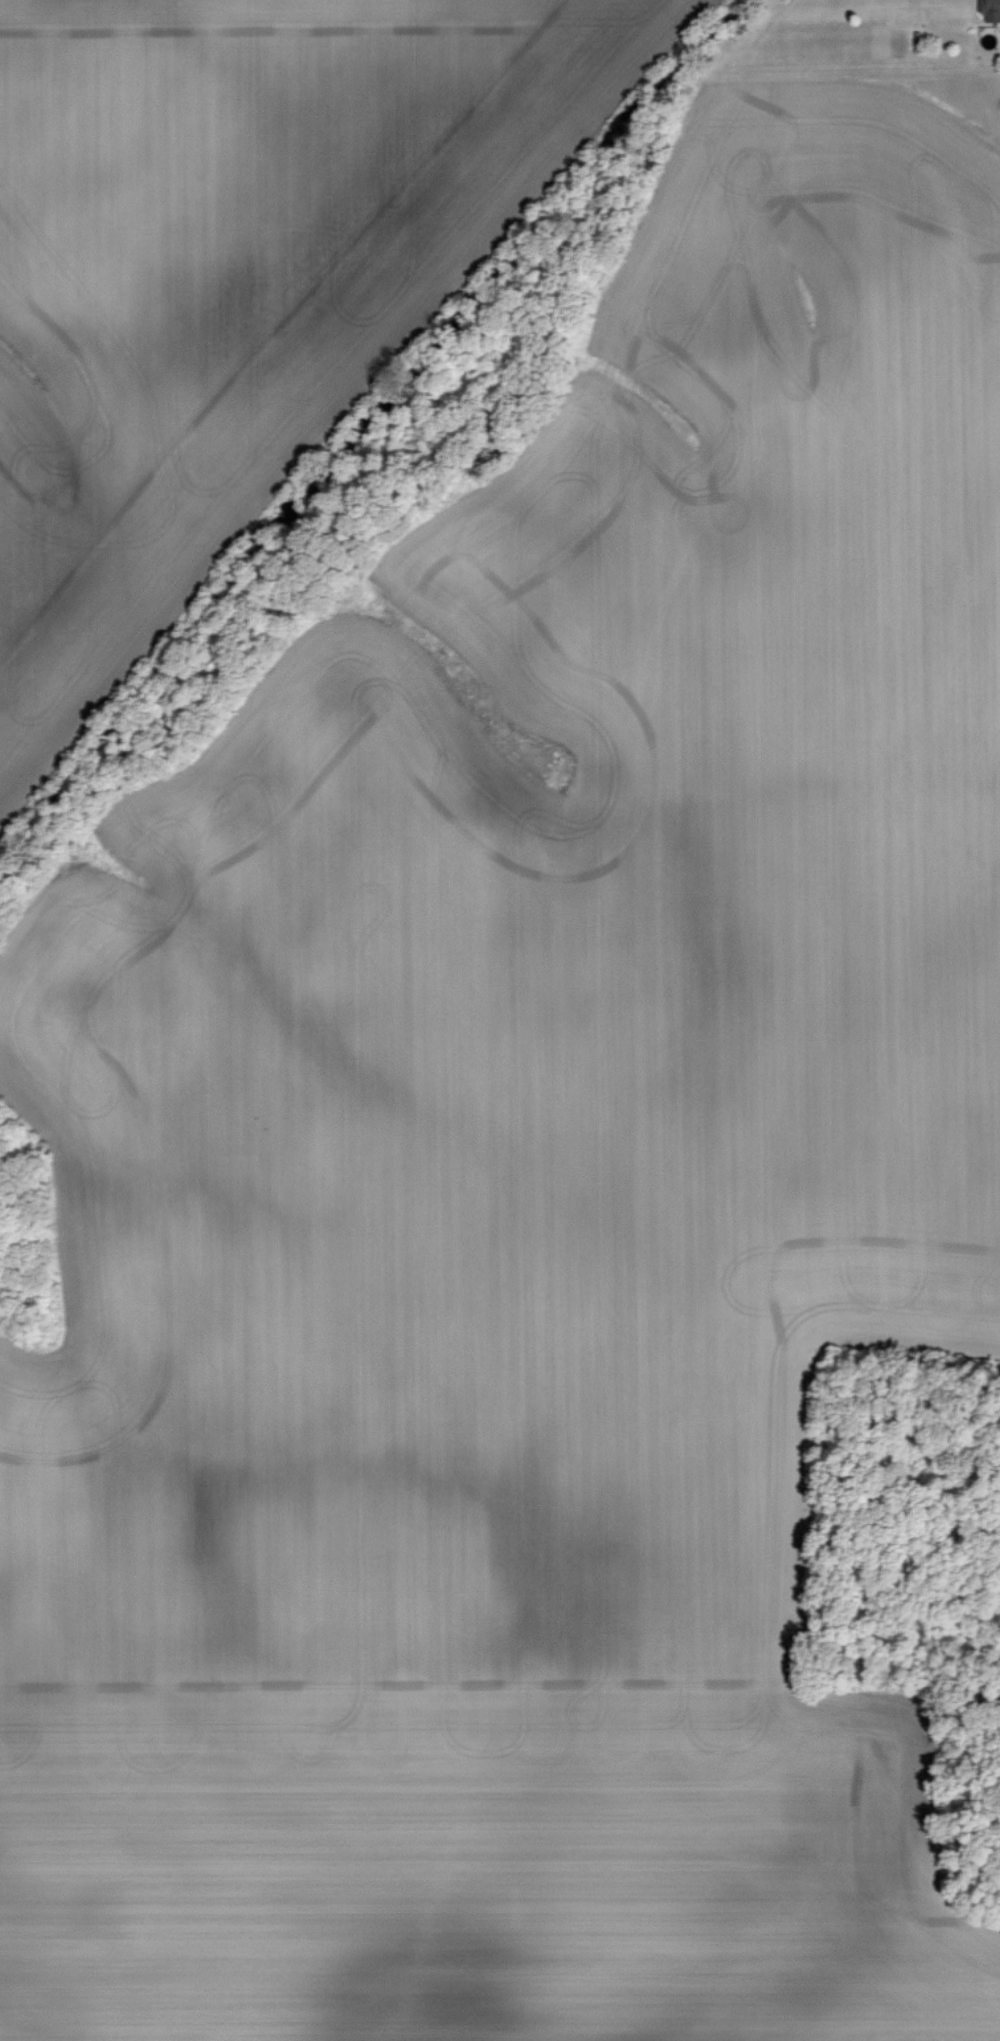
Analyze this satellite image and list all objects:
building: (990, 10)

